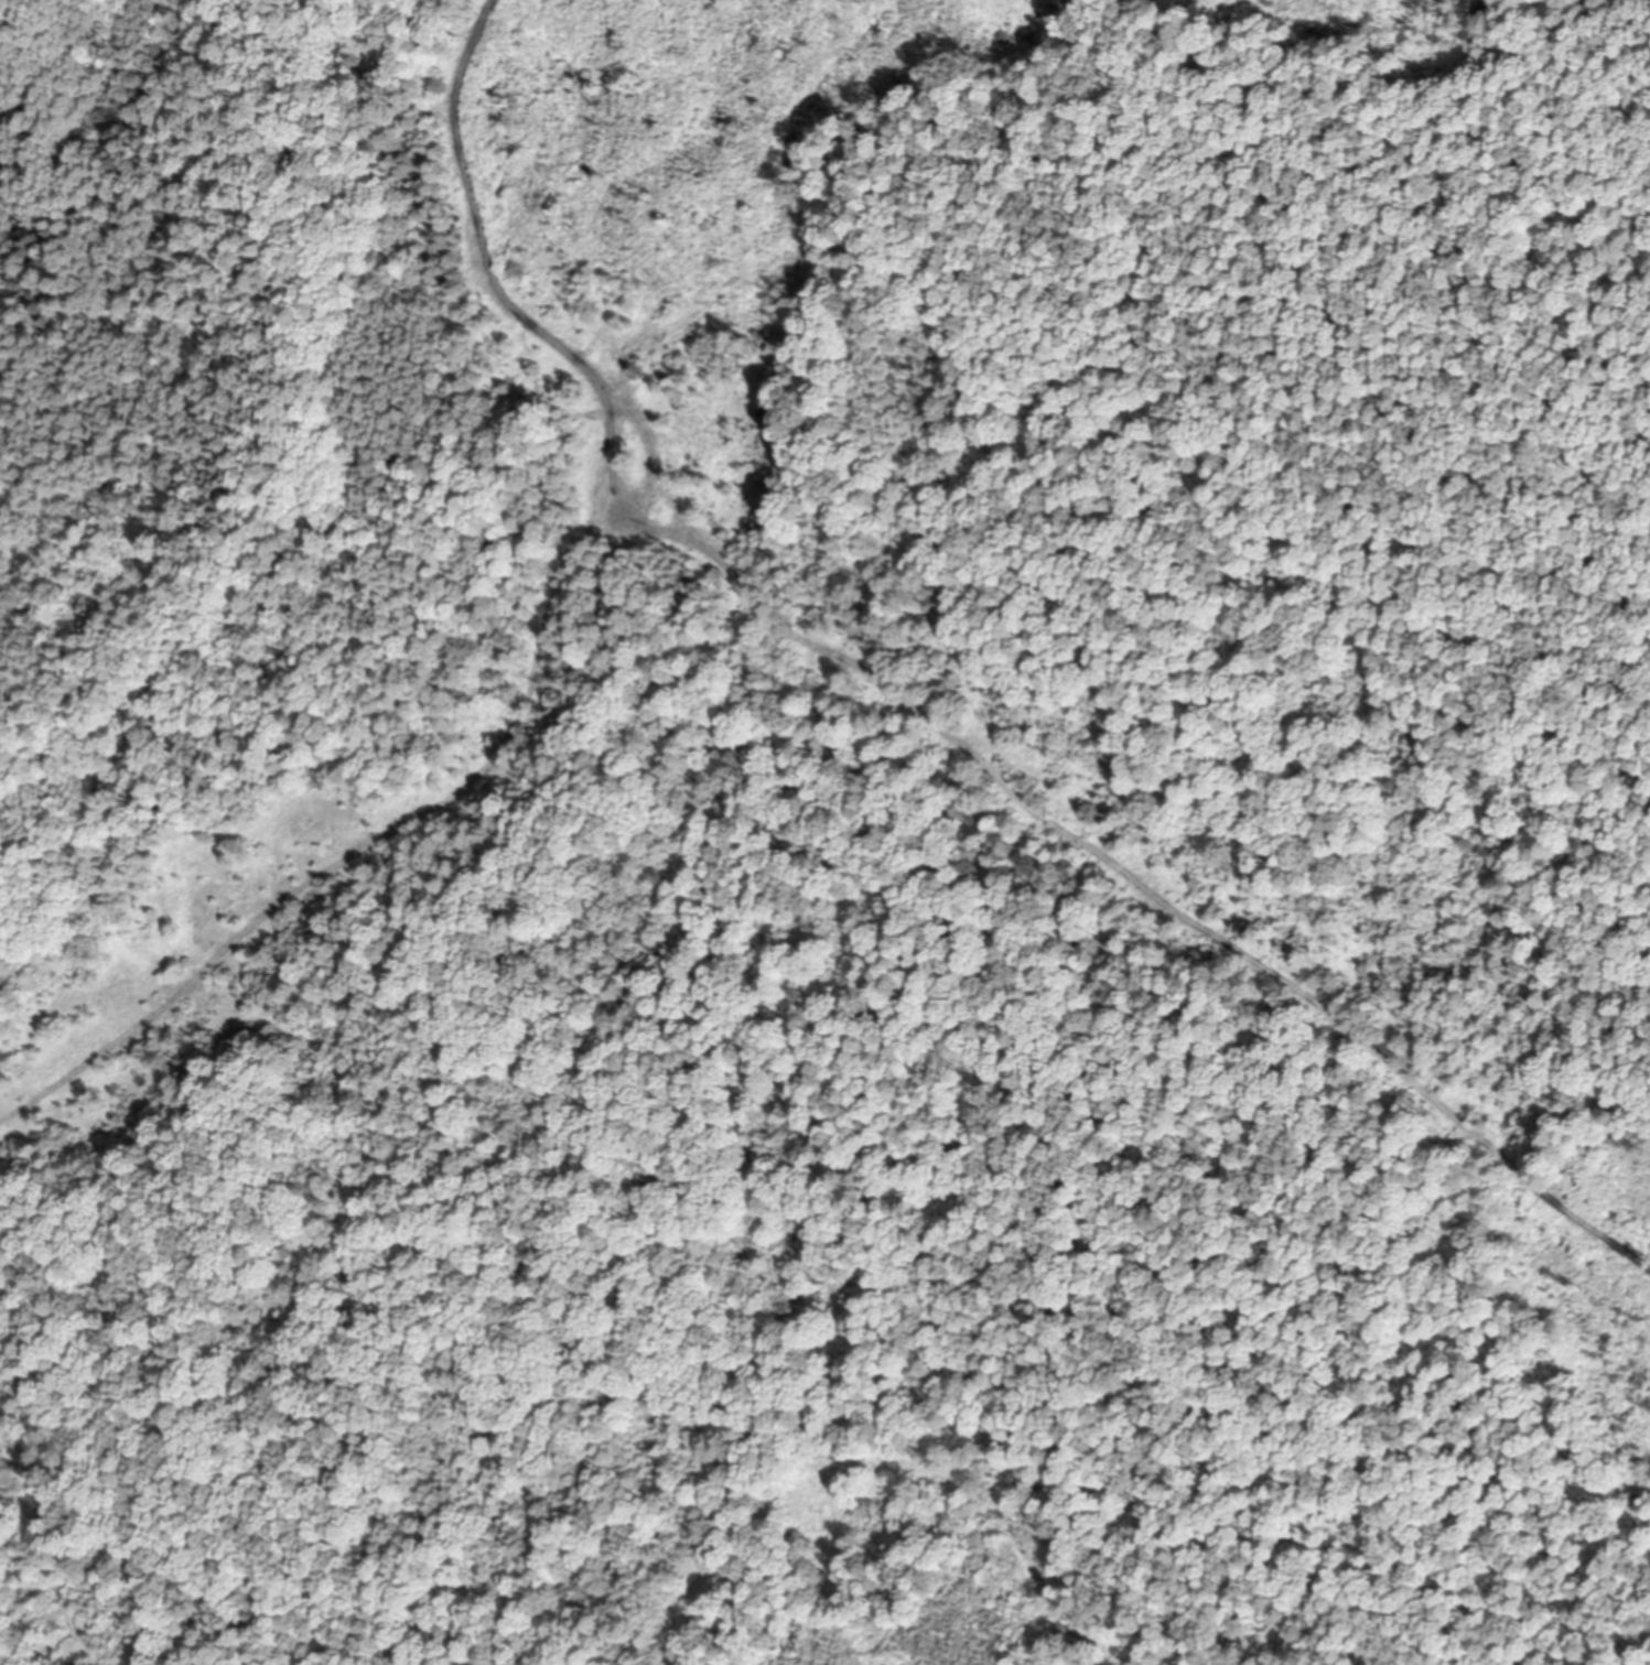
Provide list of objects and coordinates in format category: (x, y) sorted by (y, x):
road: (916, 705)
road: (358, 846)
road: (48, 1539)

